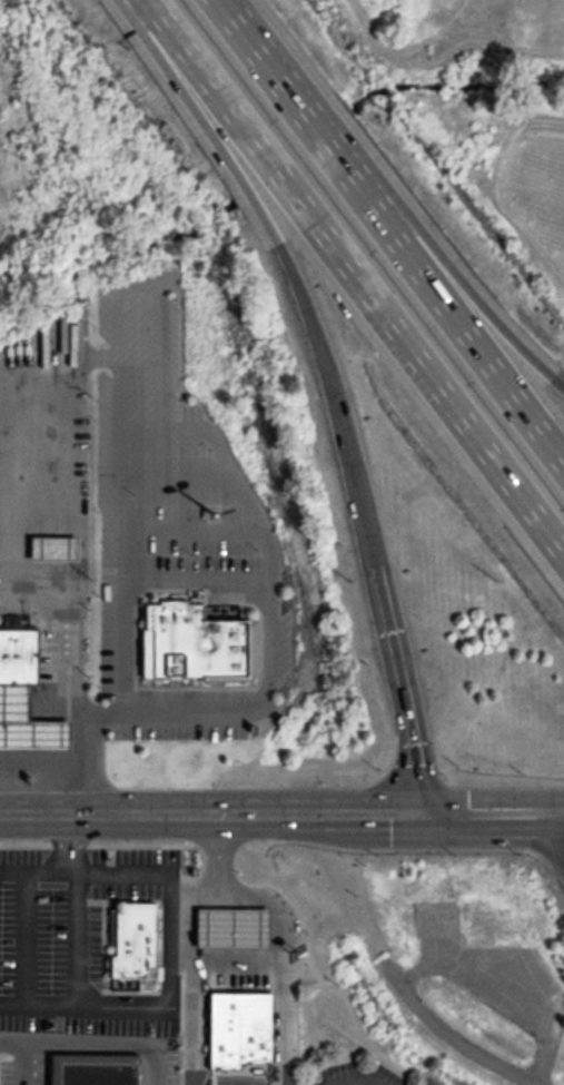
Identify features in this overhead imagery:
road: (390, 230)
road: (288, 265)
road: (131, 284)
road: (350, 284)
road: (474, 303)
road: (112, 444)
parking lot: (156, 474)
road: (169, 476)
road: (185, 526)
building: (206, 531)
building: (50, 546)
gas station: (50, 546)
road: (191, 574)
building: (196, 639)
road: (263, 649)
building: (16, 655)
road: (398, 673)
parking lot: (205, 698)
road: (161, 710)
building: (26, 723)
gas station: (26, 723)
road: (90, 765)
road: (554, 812)
road: (486, 813)
traffic signals: (544, 813)
road: (214, 815)
traffic signals: (429, 815)
road: (554, 837)
road: (136, 870)
building: (210, 891)
building: (234, 928)
road: (188, 936)
parking lot: (79, 940)
building: (131, 940)
road: (79, 944)
road: (281, 947)
building: (218, 973)
road: (167, 1005)
road: (289, 1023)
building: (240, 1032)
road: (7, 1040)
road: (101, 1043)
parking lot: (154, 1057)
road: (20, 1063)
building: (90, 1069)
parking lot: (358, 1075)
road: (243, 1081)

